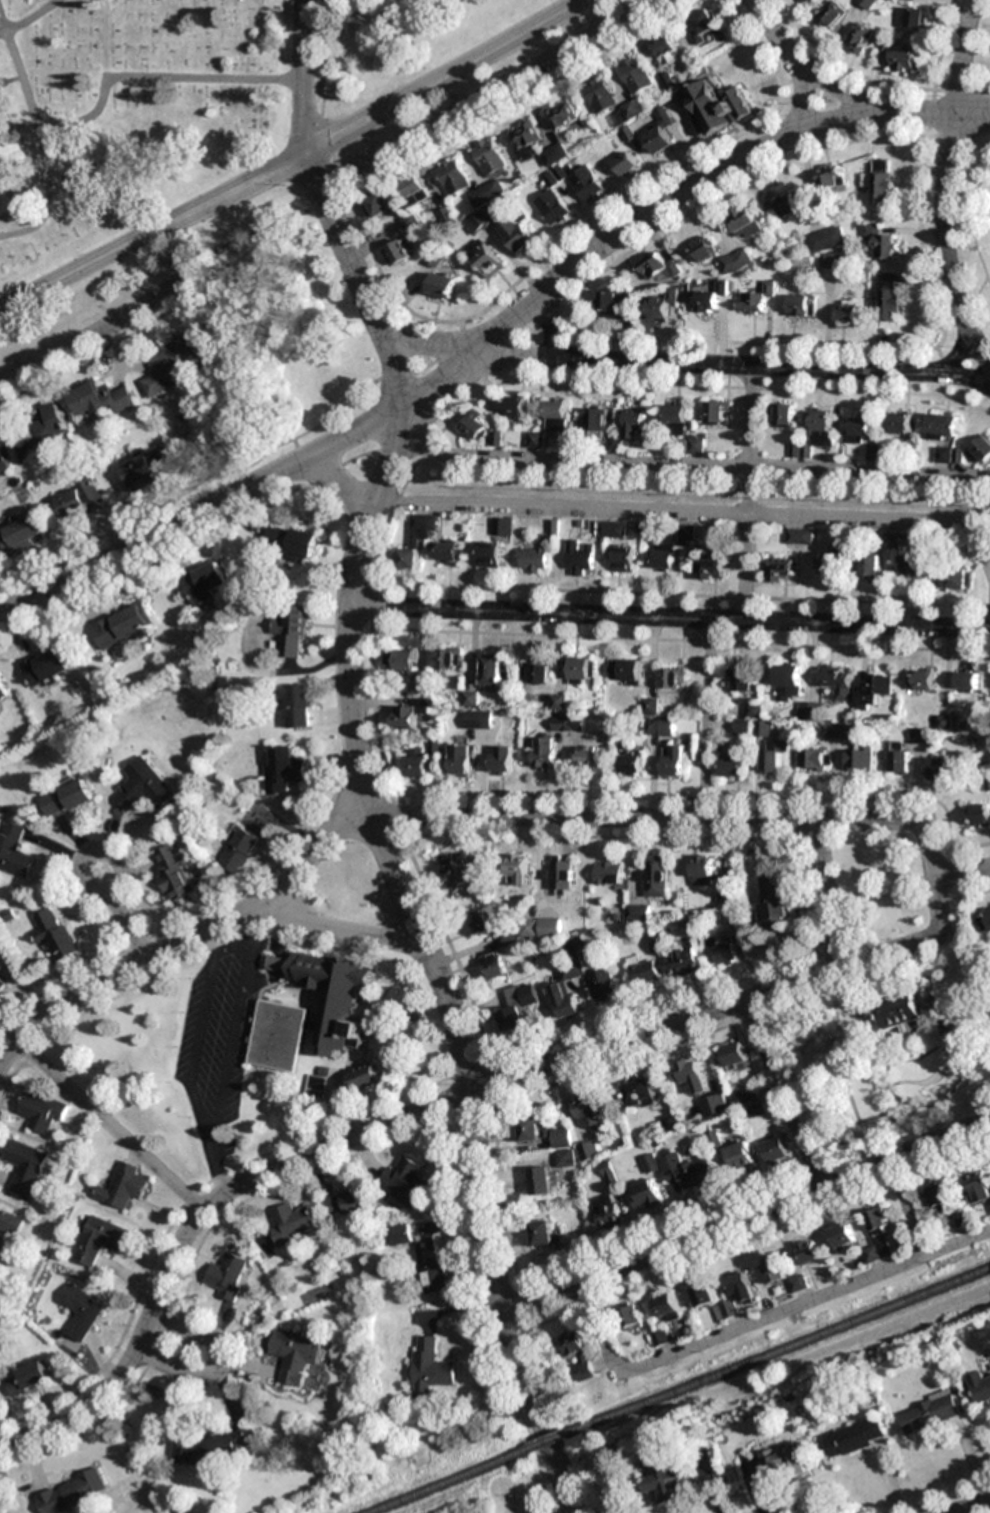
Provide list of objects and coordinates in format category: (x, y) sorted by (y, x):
building: (802, 1)
building: (865, 3)
road: (629, 7)
building: (831, 15)
building: (915, 18)
building: (706, 21)
road: (776, 34)
building: (859, 38)
building: (903, 58)
building: (636, 75)
road: (303, 78)
road: (843, 90)
building: (600, 94)
road: (490, 95)
road: (799, 100)
building: (633, 108)
building: (713, 109)
building: (562, 113)
park: (129, 114)
building: (658, 132)
building: (524, 139)
road: (434, 145)
building: (554, 154)
building: (490, 157)
road: (294, 161)
building: (624, 163)
building: (453, 176)
building: (550, 178)
building: (831, 179)
building: (881, 181)
building: (585, 183)
building: (414, 186)
road: (689, 186)
road: (944, 186)
building: (487, 193)
building: (791, 204)
building: (378, 205)
building: (552, 207)
building: (480, 221)
building: (743, 223)
park: (973, 225)
building: (517, 235)
building: (826, 239)
building: (882, 241)
building: (703, 249)
building: (396, 253)
building: (434, 259)
building: (834, 260)
building: (736, 261)
building: (487, 262)
park: (170, 265)
building: (657, 266)
building: (443, 285)
road: (364, 293)
building: (889, 296)
building: (758, 297)
building: (705, 302)
building: (612, 304)
building: (661, 305)
building: (803, 305)
building: (847, 314)
road: (556, 326)
road: (94, 332)
road: (671, 364)
building: (169, 365)
road: (964, 378)
building: (101, 399)
building: (515, 407)
building: (717, 412)
building: (784, 415)
building: (556, 416)
building: (596, 422)
building: (900, 423)
building: (48, 425)
building: (635, 425)
building: (943, 426)
building: (474, 427)
building: (683, 428)
building: (822, 428)
building: (859, 428)
building: (535, 440)
building: (981, 449)
building: (943, 454)
building: (4, 466)
road: (696, 466)
building: (146, 467)
road: (339, 486)
road: (745, 492)
building: (81, 498)
road: (223, 501)
road: (697, 513)
building: (502, 526)
building: (611, 528)
building: (686, 532)
building: (22, 534)
building: (803, 536)
building: (418, 538)
building: (890, 539)
building: (292, 543)
building: (449, 551)
building: (490, 554)
building: (664, 556)
building: (579, 557)
building: (623, 558)
building: (535, 559)
building: (828, 563)
building: (868, 566)
building: (909, 566)
building: (710, 567)
building: (781, 569)
building: (952, 578)
building: (205, 582)
road: (671, 614)
building: (123, 626)
building: (292, 632)
building: (406, 659)
building: (448, 659)
building: (46, 667)
building: (583, 670)
building: (493, 671)
building: (626, 671)
building: (536, 673)
building: (671, 678)
building: (920, 679)
building: (966, 679)
building: (739, 681)
building: (788, 682)
building: (837, 682)
building: (872, 690)
building: (3, 692)
building: (559, 702)
building: (297, 705)
building: (651, 705)
building: (810, 711)
building: (410, 714)
road: (703, 717)
building: (478, 721)
building: (568, 723)
building: (659, 727)
building: (836, 730)
building: (544, 753)
building: (589, 753)
building: (775, 756)
building: (860, 757)
building: (898, 757)
building: (812, 759)
building: (461, 760)
building: (502, 760)
building: (674, 762)
building: (416, 763)
building: (631, 763)
building: (733, 766)
building: (937, 767)
building: (284, 770)
building: (147, 789)
road: (349, 791)
building: (69, 798)
building: (978, 815)
road: (445, 818)
building: (14, 849)
building: (240, 851)
road: (89, 857)
building: (518, 869)
building: (702, 870)
building: (610, 872)
road: (961, 872)
building: (174, 873)
building: (460, 874)
building: (563, 876)
building: (657, 876)
building: (726, 892)
road: (828, 893)
building: (776, 901)
building: (639, 912)
building: (984, 919)
building: (480, 921)
road: (131, 927)
building: (541, 927)
road: (338, 928)
building: (55, 933)
building: (505, 937)
road: (423, 942)
building: (657, 942)
building: (727, 951)
building: (685, 962)
building: (494, 964)
building: (644, 971)
building: (2, 984)
building: (603, 984)
building: (566, 988)
building: (518, 1006)
building: (902, 1013)
building: (282, 1014)
building: (950, 1022)
building: (735, 1056)
building: (692, 1075)
building: (364, 1077)
building: (640, 1092)
building: (744, 1098)
road: (439, 1105)
building: (42, 1111)
building: (590, 1113)
building: (671, 1122)
road: (109, 1126)
building: (531, 1129)
building: (564, 1148)
building: (778, 1149)
building: (588, 1151)
building: (739, 1156)
building: (651, 1164)
building: (27, 1167)
building: (687, 1169)
building: (610, 1173)
building: (543, 1180)
building: (406, 1181)
building: (122, 1186)
building: (978, 1187)
building: (646, 1195)
building: (937, 1198)
building: (346, 1204)
road: (907, 1208)
building: (607, 1211)
road: (747, 1218)
building: (959, 1219)
building: (10, 1223)
building: (292, 1224)
building: (545, 1232)
building: (398, 1234)
building: (842, 1235)
building: (879, 1237)
building: (99, 1239)
building: (807, 1252)
building: (1, 1256)
building: (432, 1267)
building: (228, 1276)
building: (751, 1280)
building: (798, 1283)
building: (704, 1294)
building: (668, 1307)
building: (727, 1310)
building: (80, 1311)
building: (632, 1318)
road: (759, 1318)
building: (662, 1337)
building: (579, 1354)
building: (294, 1355)
road: (219, 1365)
building: (430, 1366)
building: (27, 1377)
building: (981, 1387)
building: (929, 1413)
building: (854, 1437)
building: (212, 1447)
building: (779, 1461)
building: (666, 1483)
building: (73, 1492)
park: (511, 1497)
road: (974, 1506)
road: (966, 1511)

